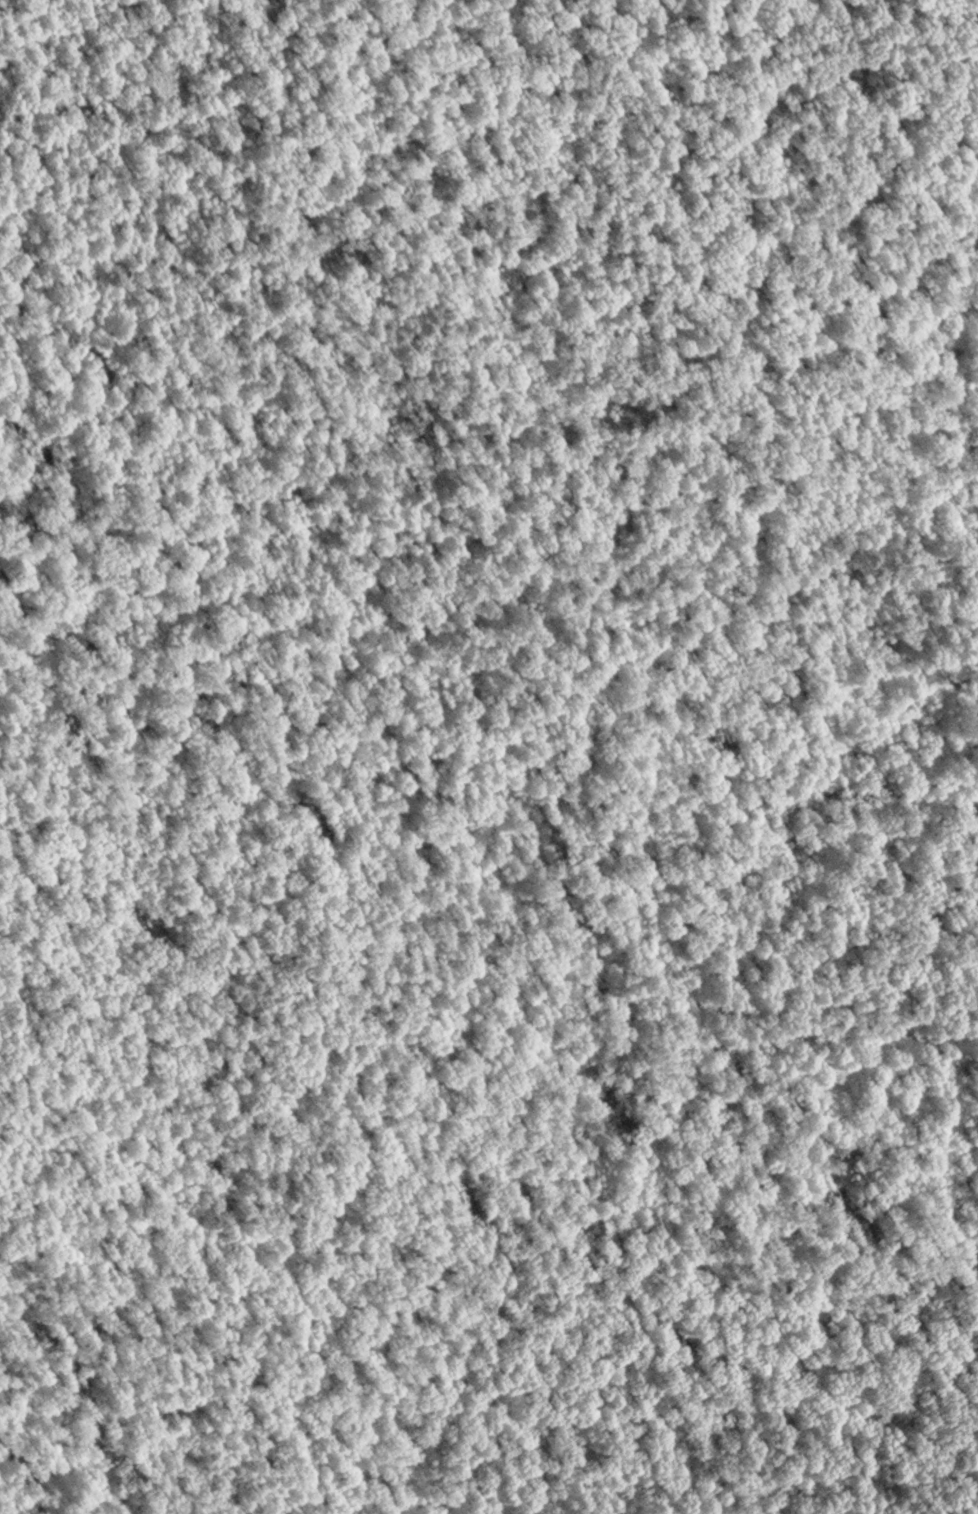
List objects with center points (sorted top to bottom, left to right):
road: (349, 1389)

